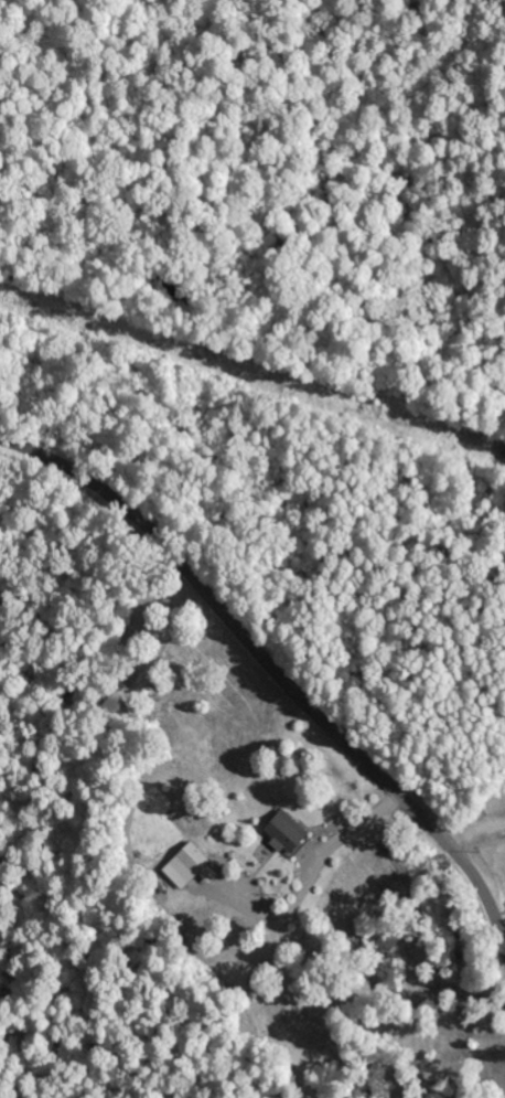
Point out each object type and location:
road: (273, 660)
building: (288, 831)
building: (192, 866)

